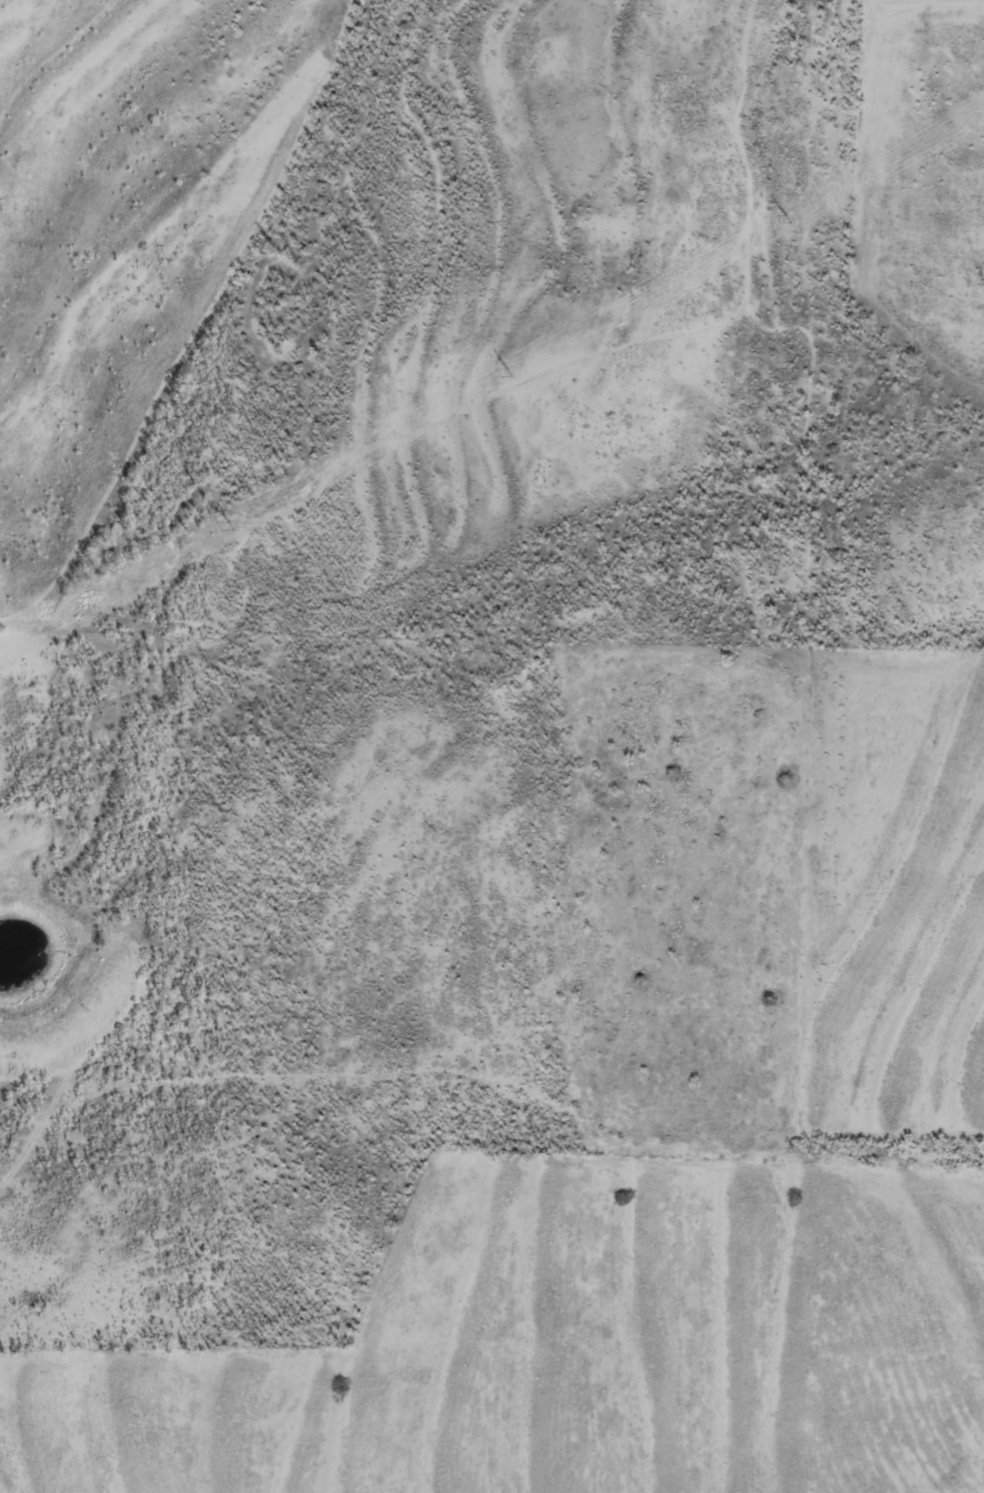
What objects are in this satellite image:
power tower: (793, 224)
power tower: (509, 373)
power tower: (233, 526)

